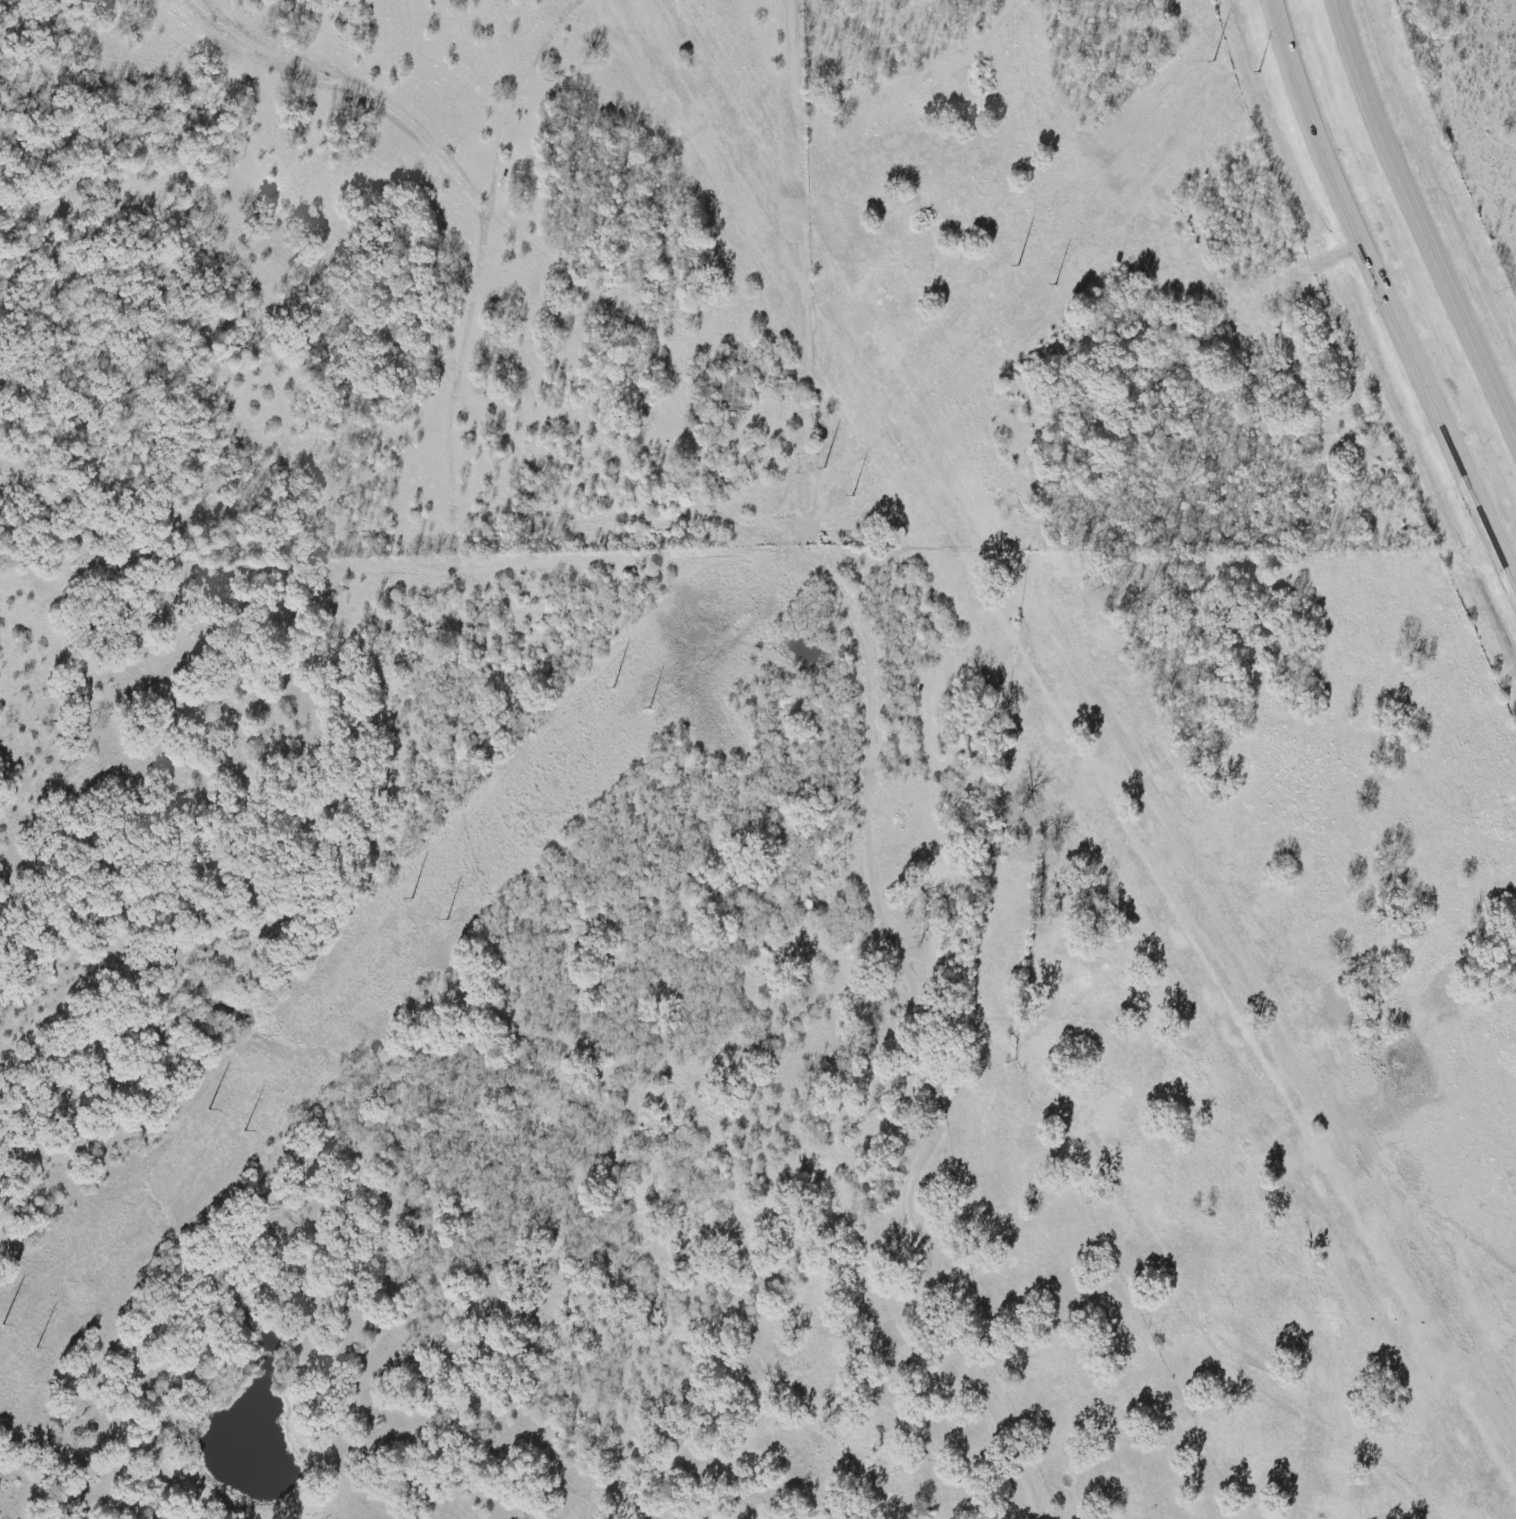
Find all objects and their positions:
power tower: (1217, 57)
road: (1418, 219)
power tower: (1022, 261)
road: (1388, 284)
power tower: (819, 473)
power tower: (617, 685)
power tower: (415, 895)
power tower: (213, 1107)
road: (917, 1267)
power tower: (7, 1323)

